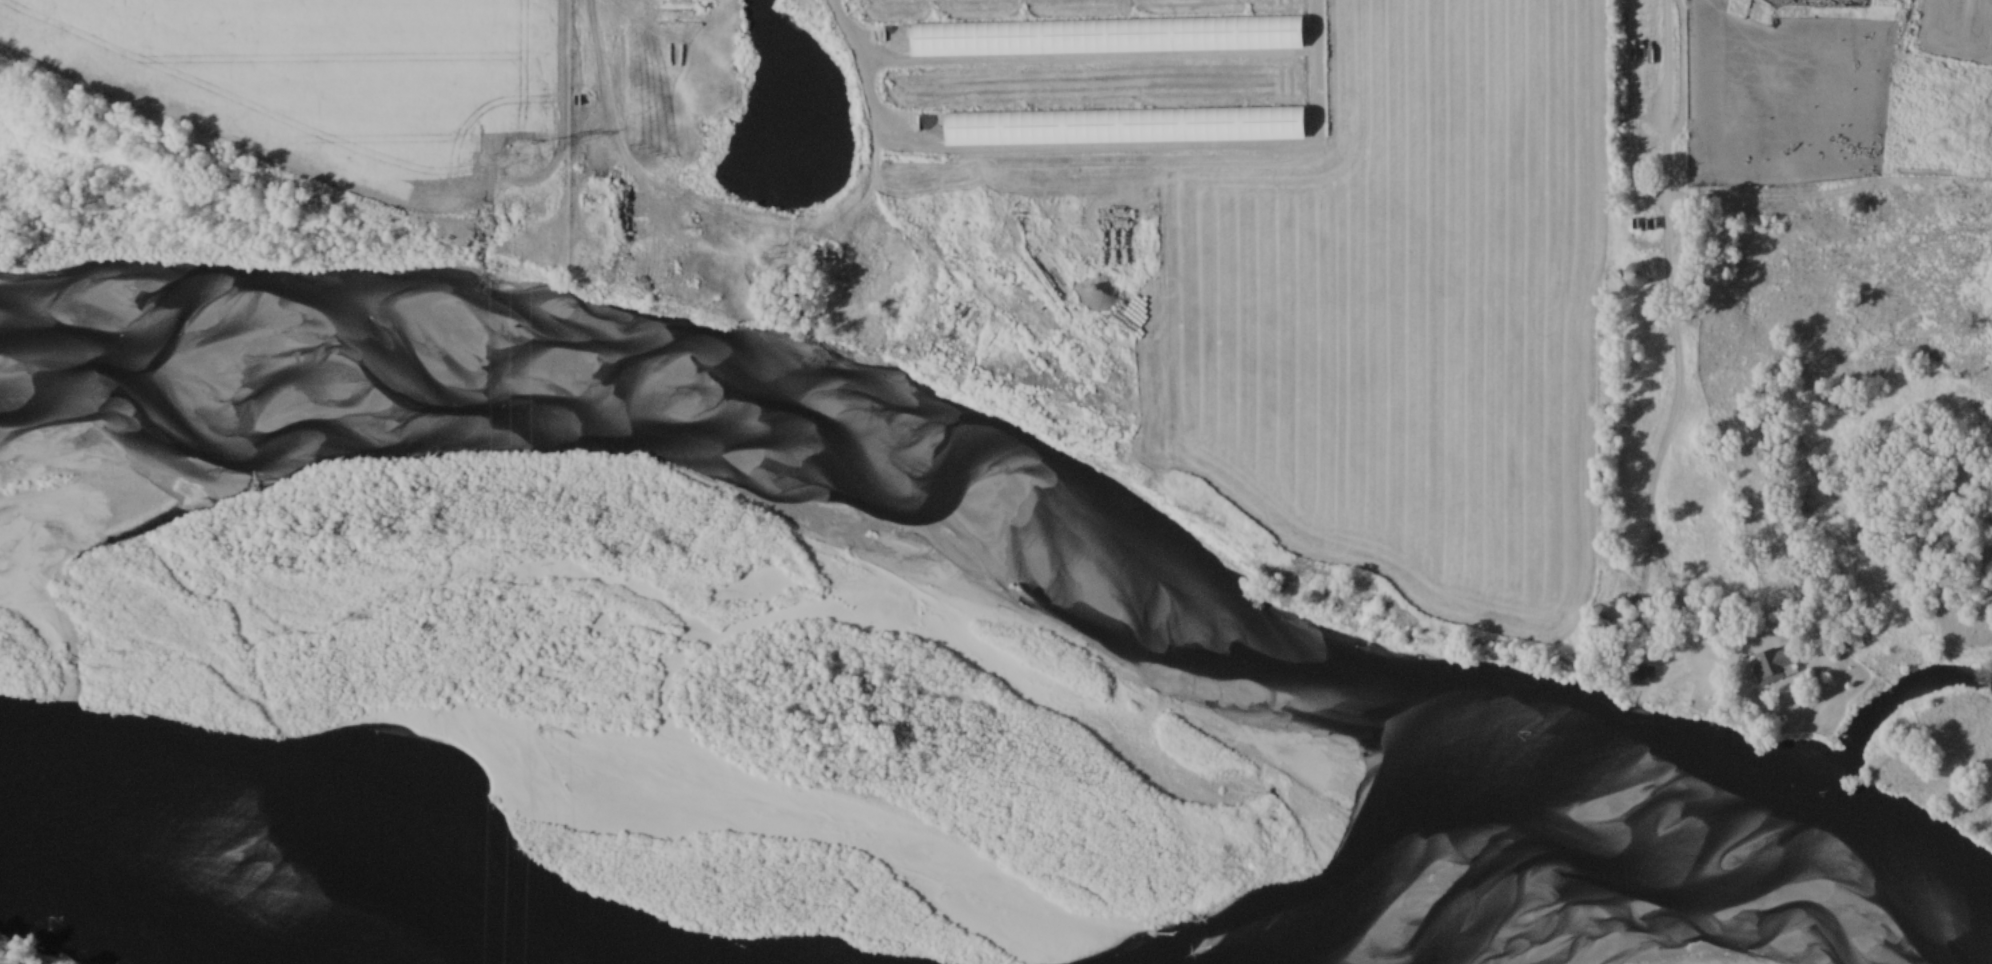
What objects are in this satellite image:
power tower: (516, 158)
building: (1635, 274)
road: (1672, 334)
building: (1765, 668)
road: (1736, 701)
river: (1845, 780)
river: (407, 806)

